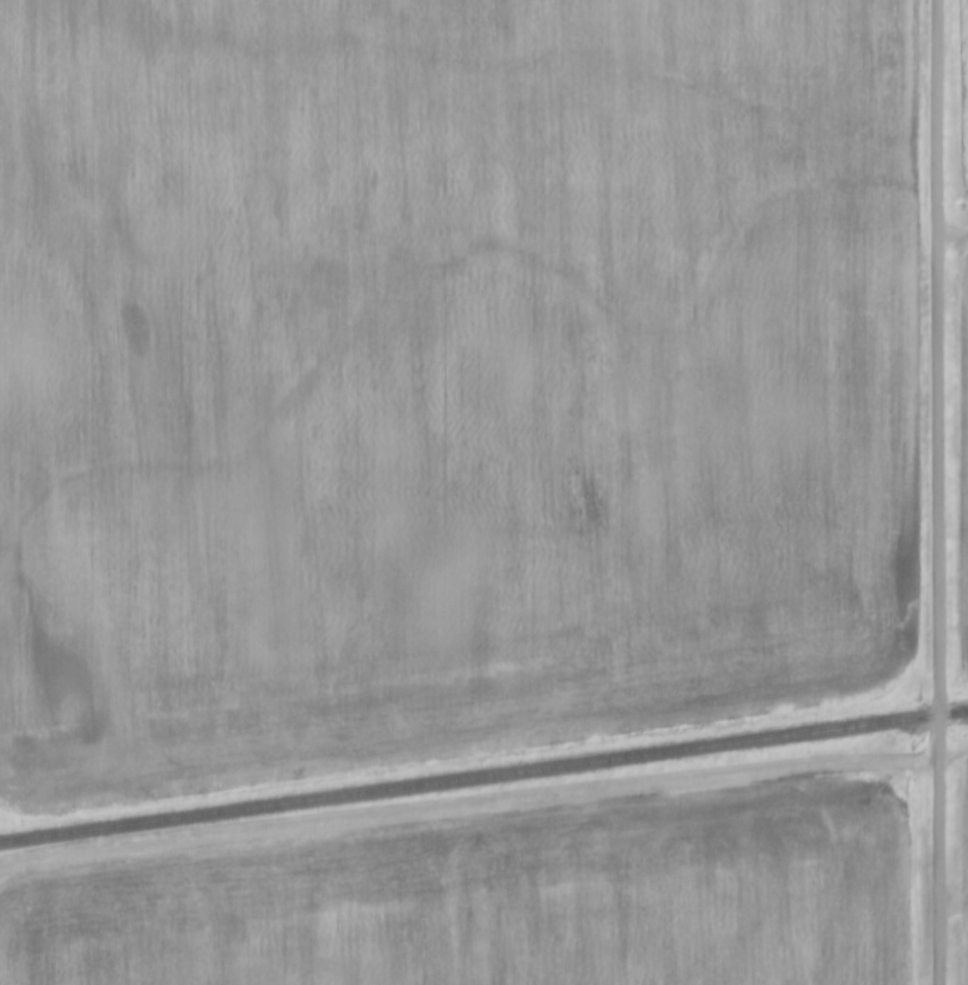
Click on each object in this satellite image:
road: (937, 492)
road: (952, 755)
railway: (484, 777)

